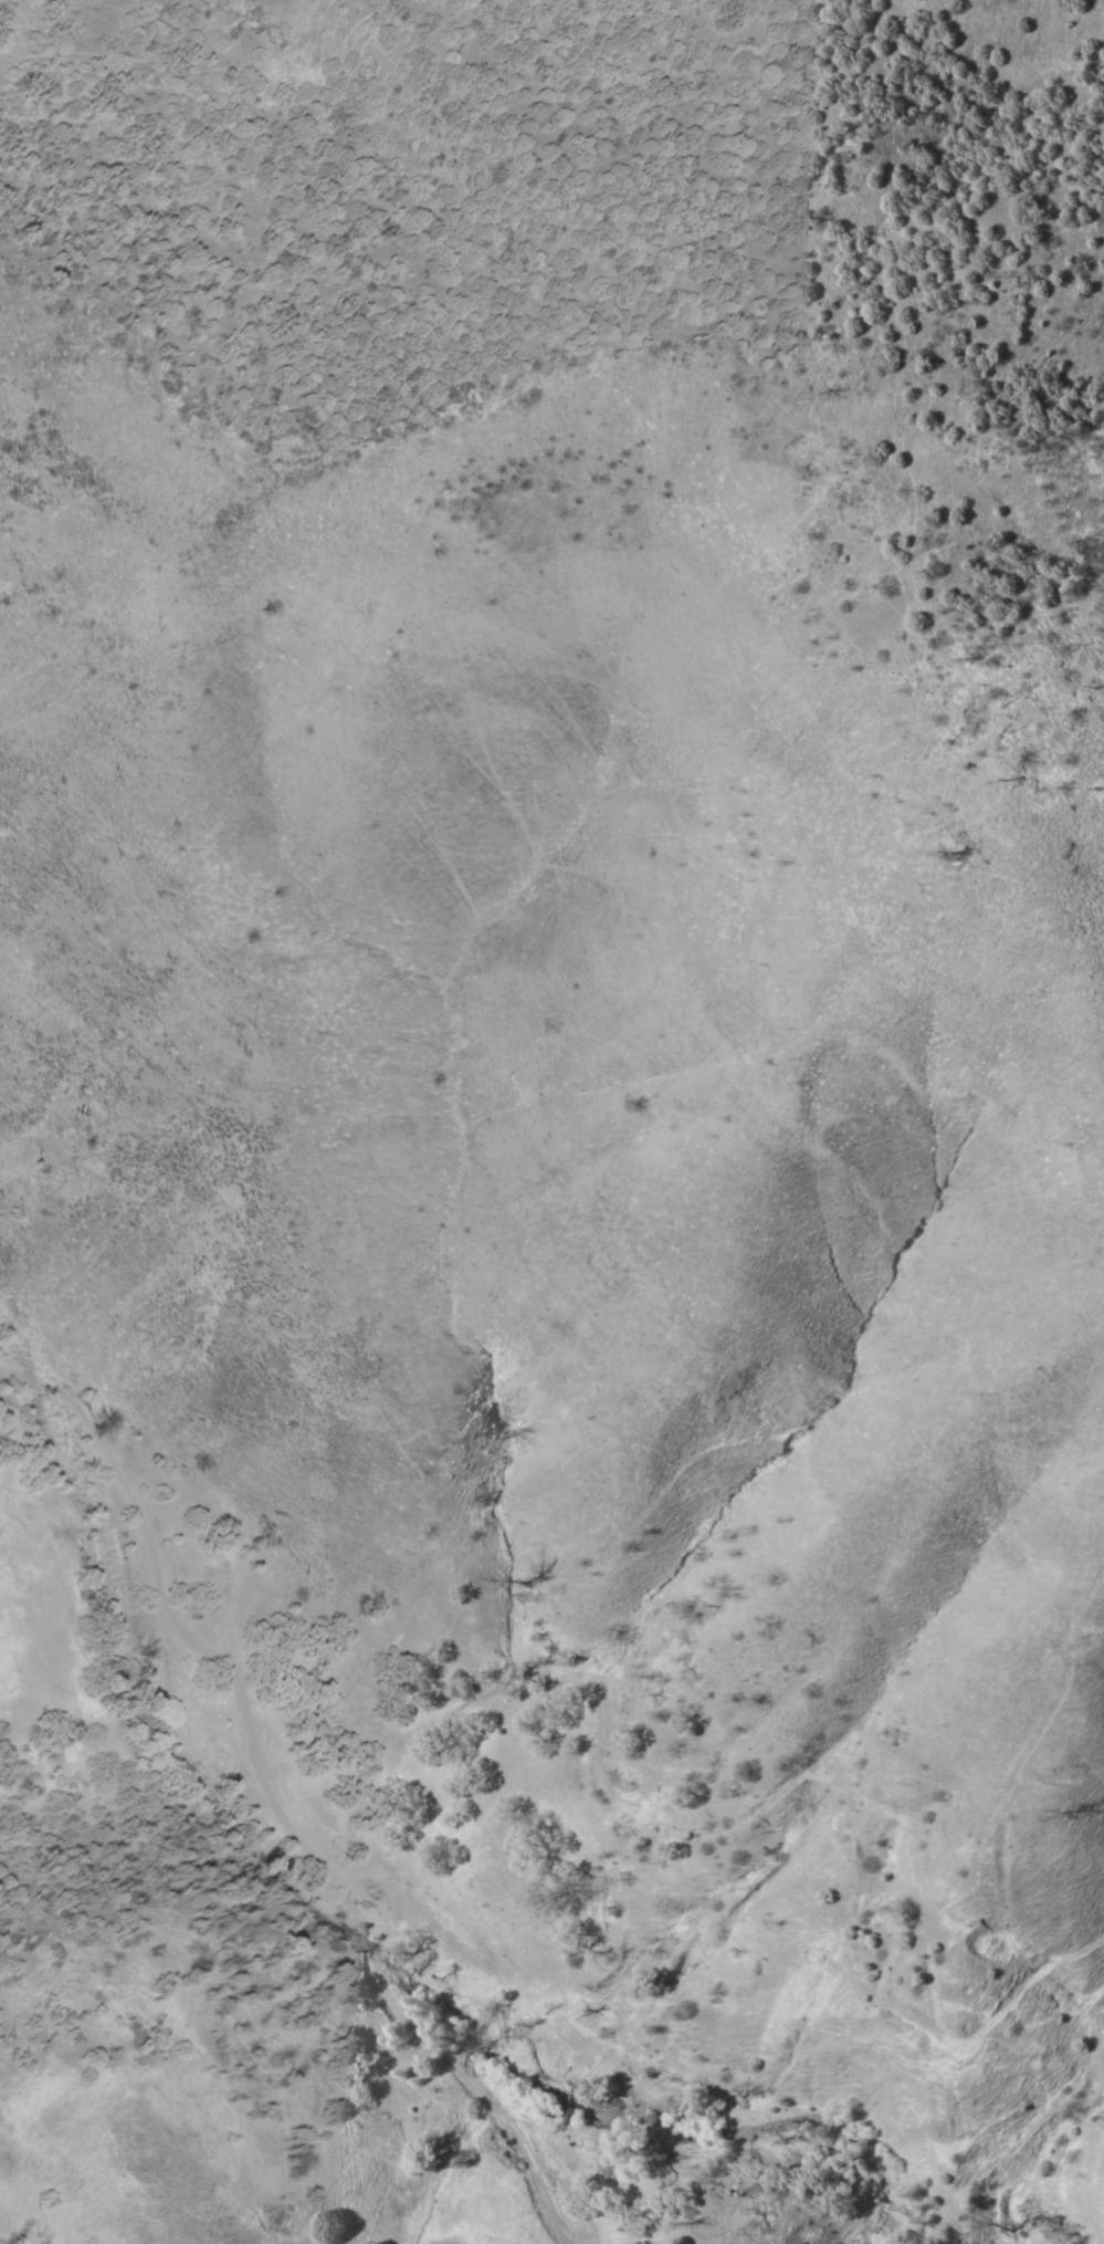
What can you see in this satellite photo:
road: (307, 1855)

